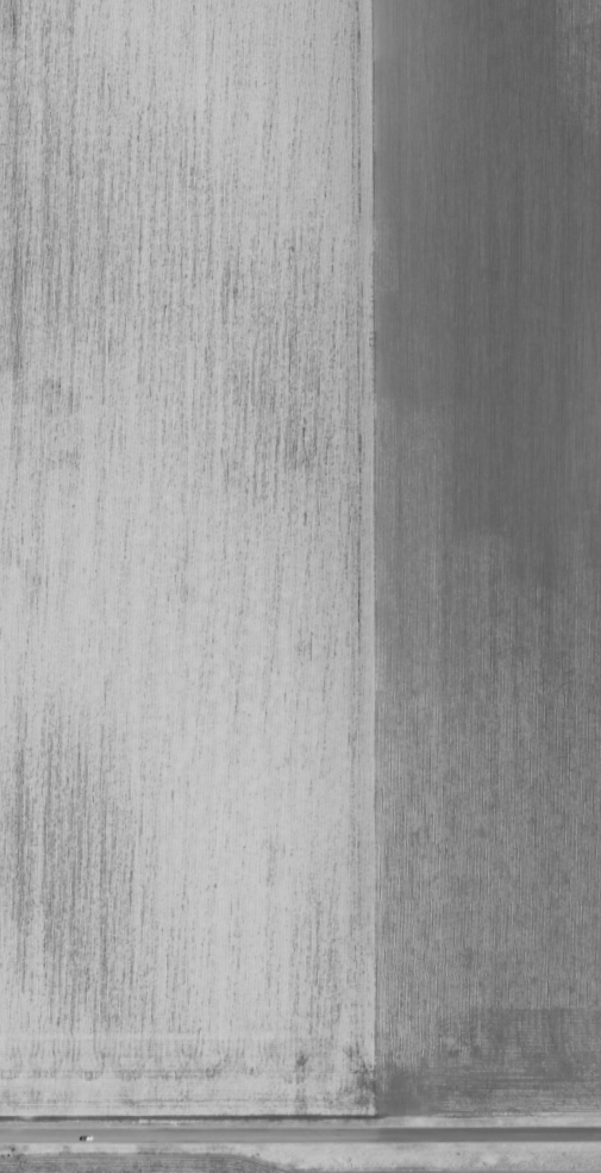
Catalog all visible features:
road: (300, 1134)

